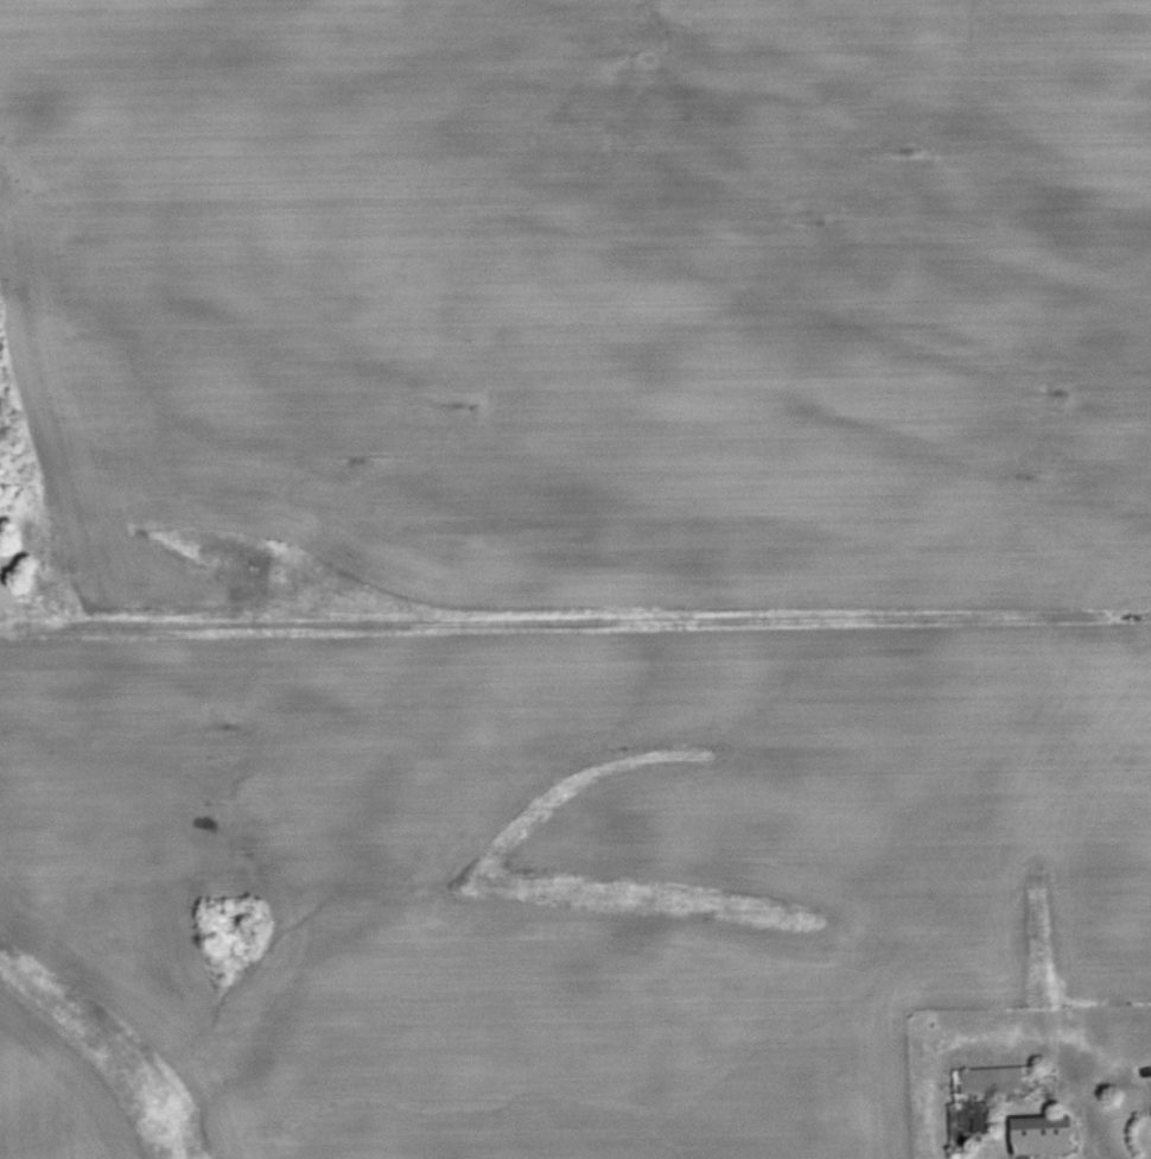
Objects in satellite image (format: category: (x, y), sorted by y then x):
building: (980, 1100)
building: (1042, 1135)
road: (1089, 1158)

